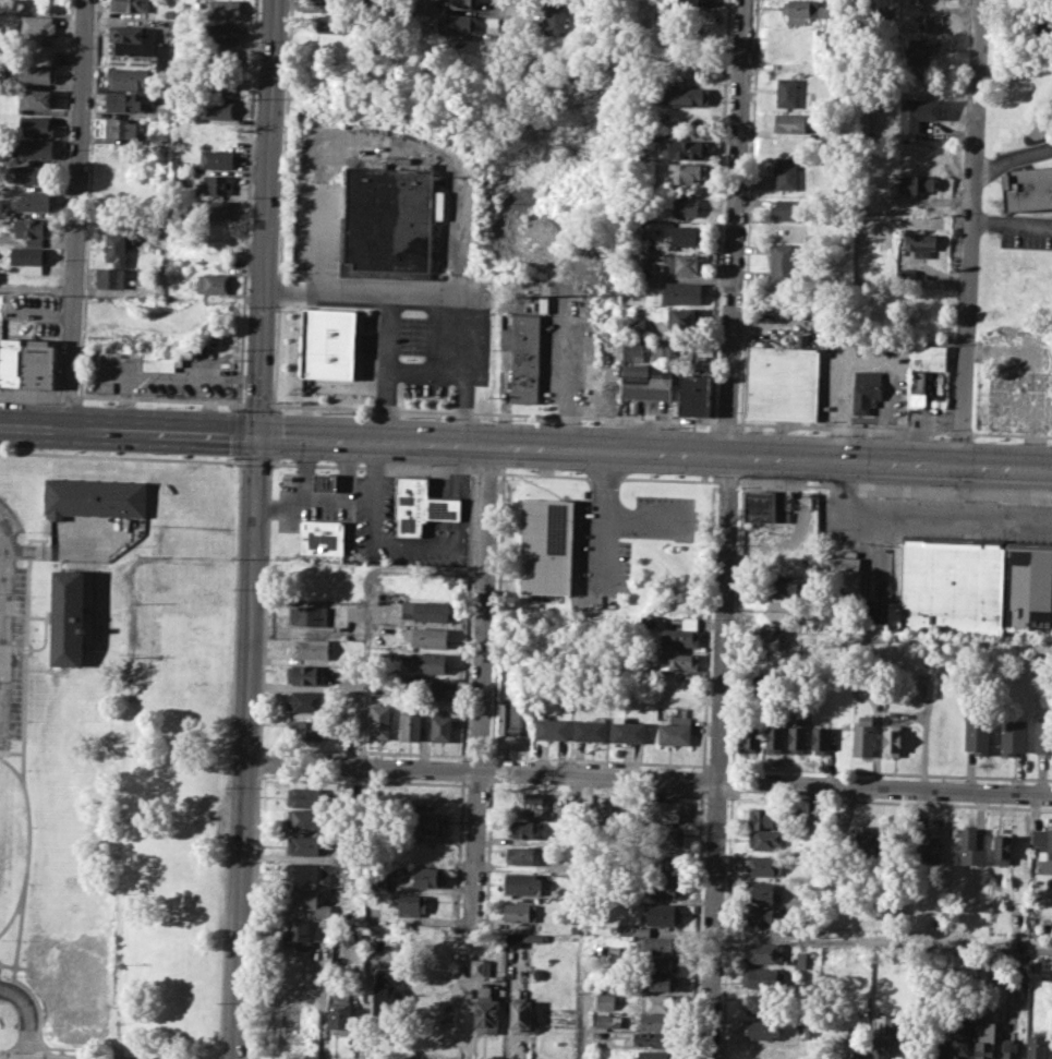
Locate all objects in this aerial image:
building: (331, 0)
building: (698, 2)
building: (459, 3)
building: (130, 4)
building: (222, 9)
building: (806, 10)
road: (513, 11)
building: (556, 16)
building: (334, 23)
building: (456, 24)
building: (37, 25)
building: (221, 33)
building: (131, 39)
building: (918, 49)
building: (161, 53)
building: (220, 57)
building: (10, 71)
building: (38, 73)
building: (126, 77)
building: (221, 83)
building: (787, 92)
building: (686, 95)
building: (37, 98)
building: (123, 103)
building: (218, 108)
building: (918, 109)
building: (789, 122)
building: (37, 124)
building: (118, 128)
building: (32, 148)
building: (686, 148)
road: (1011, 157)
building: (217, 158)
building: (177, 165)
building: (689, 170)
building: (29, 173)
building: (786, 173)
building: (918, 181)
building: (218, 183)
building: (1030, 188)
building: (31, 201)
building: (3, 206)
building: (685, 207)
building: (214, 209)
building: (788, 209)
road: (75, 213)
building: (388, 218)
road: (1011, 222)
road: (733, 225)
building: (32, 229)
road: (969, 230)
parking lot: (1026, 231)
building: (684, 234)
building: (920, 243)
building: (114, 245)
building: (31, 258)
building: (783, 261)
building: (685, 263)
building: (109, 276)
building: (214, 282)
building: (682, 293)
road: (388, 303)
parking lot: (379, 316)
building: (684, 318)
road: (465, 329)
building: (328, 342)
building: (634, 350)
building: (674, 350)
building: (523, 353)
building: (0, 354)
building: (161, 361)
building: (11, 362)
building: (38, 364)
building: (928, 375)
building: (645, 381)
building: (781, 382)
building: (866, 389)
building: (694, 395)
traffic signals: (257, 434)
road: (525, 445)
road: (121, 456)
road: (254, 461)
road: (375, 467)
road: (488, 471)
road: (607, 479)
building: (325, 481)
road: (727, 481)
road: (893, 488)
building: (95, 497)
building: (420, 504)
building: (764, 504)
road: (921, 515)
road: (604, 517)
road: (645, 517)
road: (253, 529)
parking lot: (910, 533)
building: (319, 537)
parking lot: (626, 538)
building: (546, 546)
road: (48, 551)
road: (1, 570)
road: (1, 580)
building: (309, 580)
building: (789, 586)
building: (971, 587)
building: (358, 594)
road: (93, 599)
road: (264, 604)
road: (87, 609)
building: (785, 609)
building: (425, 610)
road: (367, 611)
road: (38, 615)
building: (307, 615)
building: (66, 616)
parking lot: (10, 625)
building: (677, 634)
building: (427, 636)
road: (45, 639)
building: (772, 641)
building: (309, 649)
road: (25, 650)
building: (679, 660)
building: (424, 661)
road: (48, 670)
building: (306, 674)
road: (481, 683)
building: (773, 683)
building: (426, 687)
building: (927, 689)
building: (305, 701)
building: (565, 706)
building: (510, 718)
building: (380, 720)
building: (410, 725)
building: (440, 726)
building: (551, 727)
building: (303, 729)
building: (591, 729)
building: (627, 730)
building: (674, 731)
building: (977, 734)
building: (863, 735)
building: (751, 736)
building: (797, 736)
building: (1012, 736)
building: (775, 737)
building: (1043, 737)
building: (821, 738)
building: (892, 741)
road: (11, 750)
road: (718, 755)
road: (258, 760)
road: (22, 770)
road: (648, 779)
building: (307, 796)
building: (530, 801)
building: (667, 810)
building: (762, 817)
building: (306, 819)
building: (425, 823)
building: (525, 830)
building: (666, 837)
building: (870, 838)
building: (766, 840)
building: (305, 844)
building: (929, 845)
building: (972, 846)
building: (1043, 847)
building: (1002, 850)
building: (424, 851)
building: (527, 855)
building: (666, 864)
building: (765, 864)
road: (24, 870)
building: (305, 871)
building: (427, 876)
building: (377, 881)
building: (521, 882)
building: (664, 888)
building: (765, 891)
building: (304, 898)
building: (409, 903)
road: (12, 911)
building: (520, 912)
building: (663, 913)
road: (252, 915)
building: (632, 929)
building: (321, 931)
building: (350, 931)
building: (297, 934)
building: (511, 939)
road: (883, 943)
building: (661, 944)
building: (763, 952)
building: (801, 959)
building: (662, 963)
road: (7, 964)
building: (476, 966)
building: (764, 978)
building: (73, 982)
building: (660, 982)
building: (384, 989)
building: (605, 1000)
building: (658, 1001)
building: (760, 1003)
building: (287, 1011)
building: (340, 1011)
building: (486, 1011)
road: (26, 1016)
building: (521, 1016)
building: (604, 1020)
building: (655, 1021)
building: (760, 1028)
building: (652, 1039)
building: (986, 1039)
building: (959, 1044)
building: (1038, 1044)
building: (851, 1046)
building: (876, 1046)
building: (896, 1047)
building: (936, 1048)
building: (1011, 1050)
building: (654, 1055)
road: (246, 1058)

